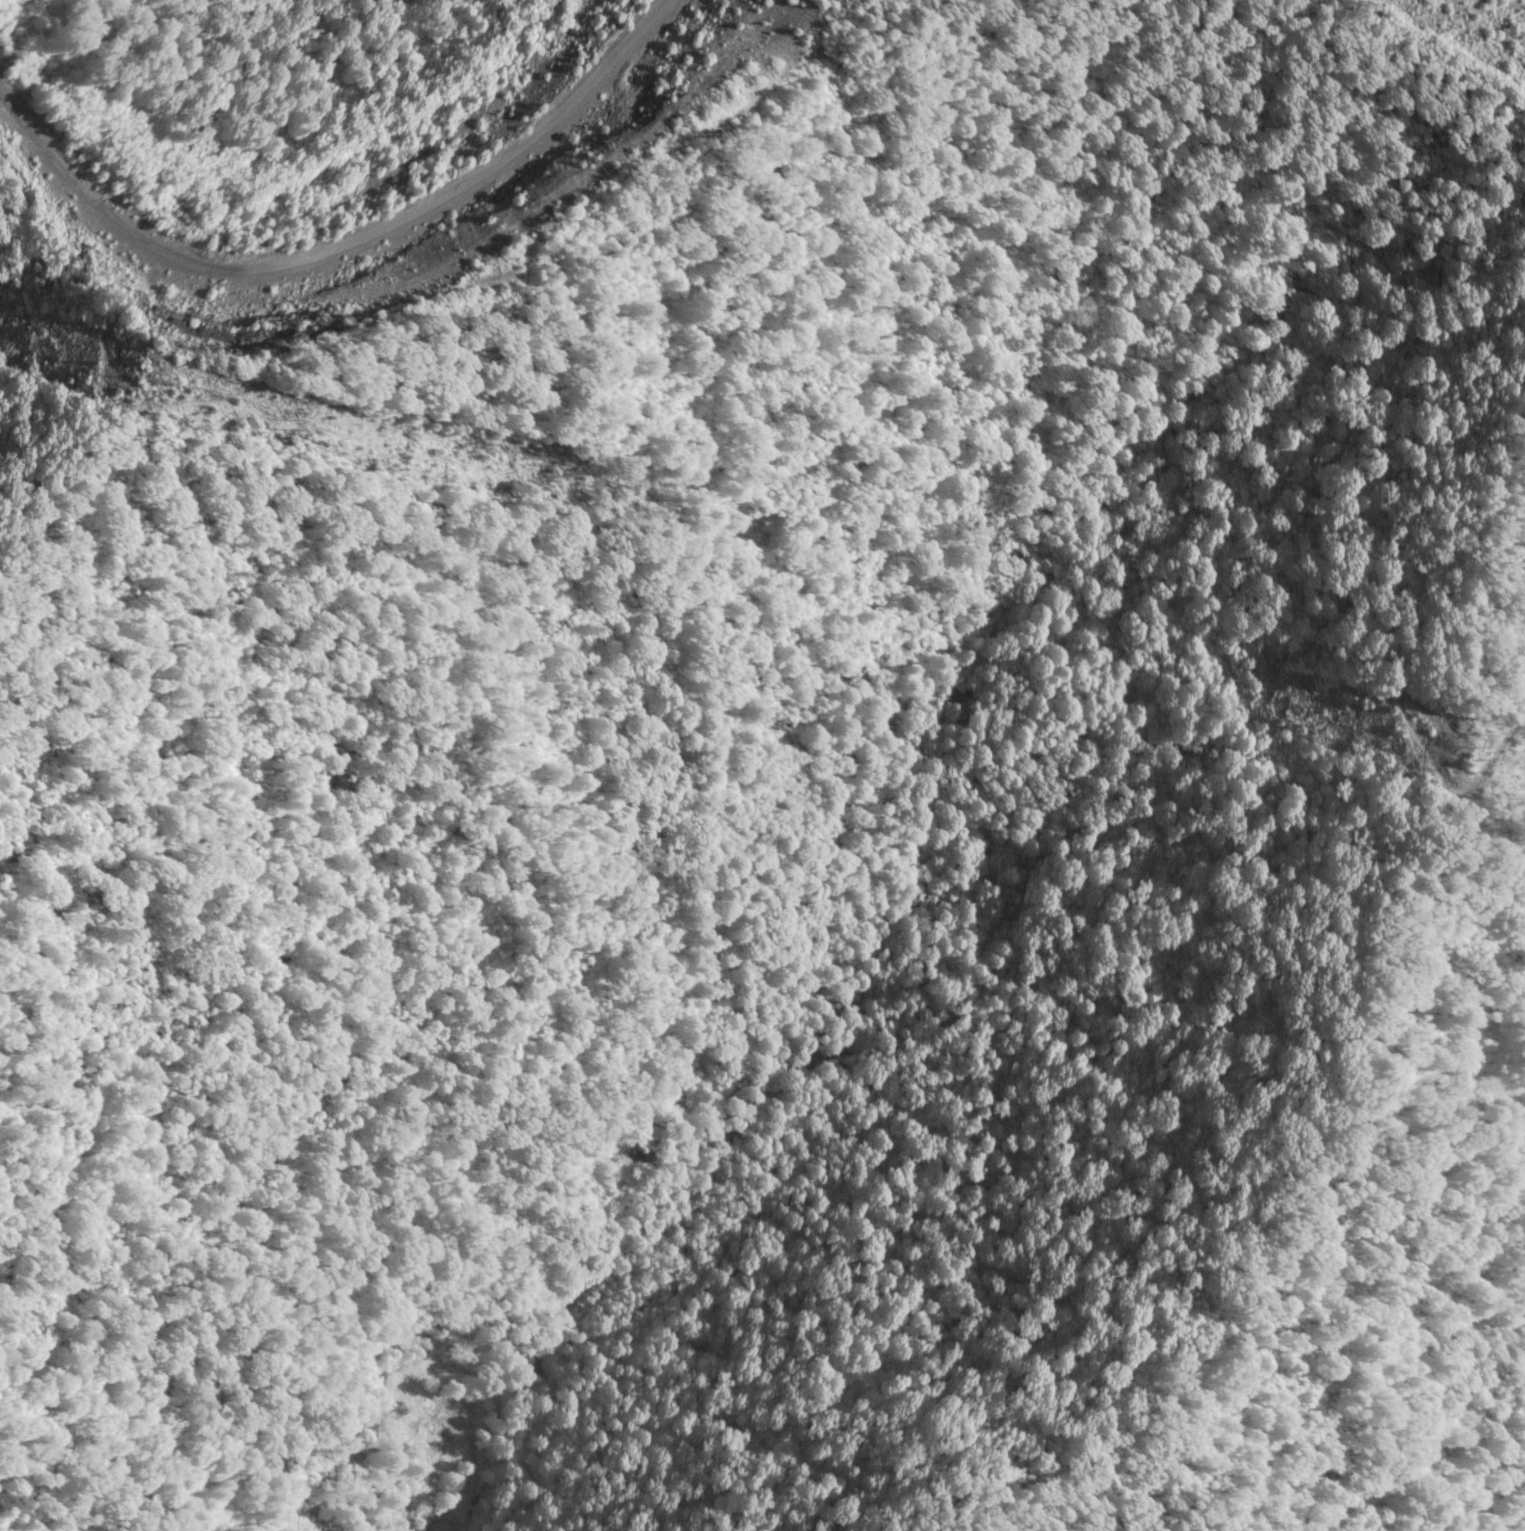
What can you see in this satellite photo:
road: (359, 279)

